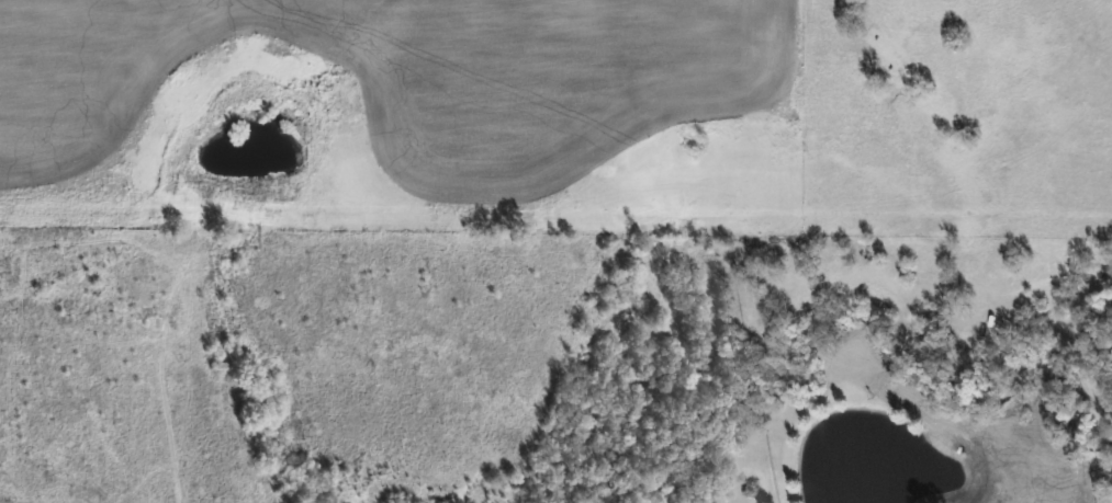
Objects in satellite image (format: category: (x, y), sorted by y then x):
crop: (412, 114)

